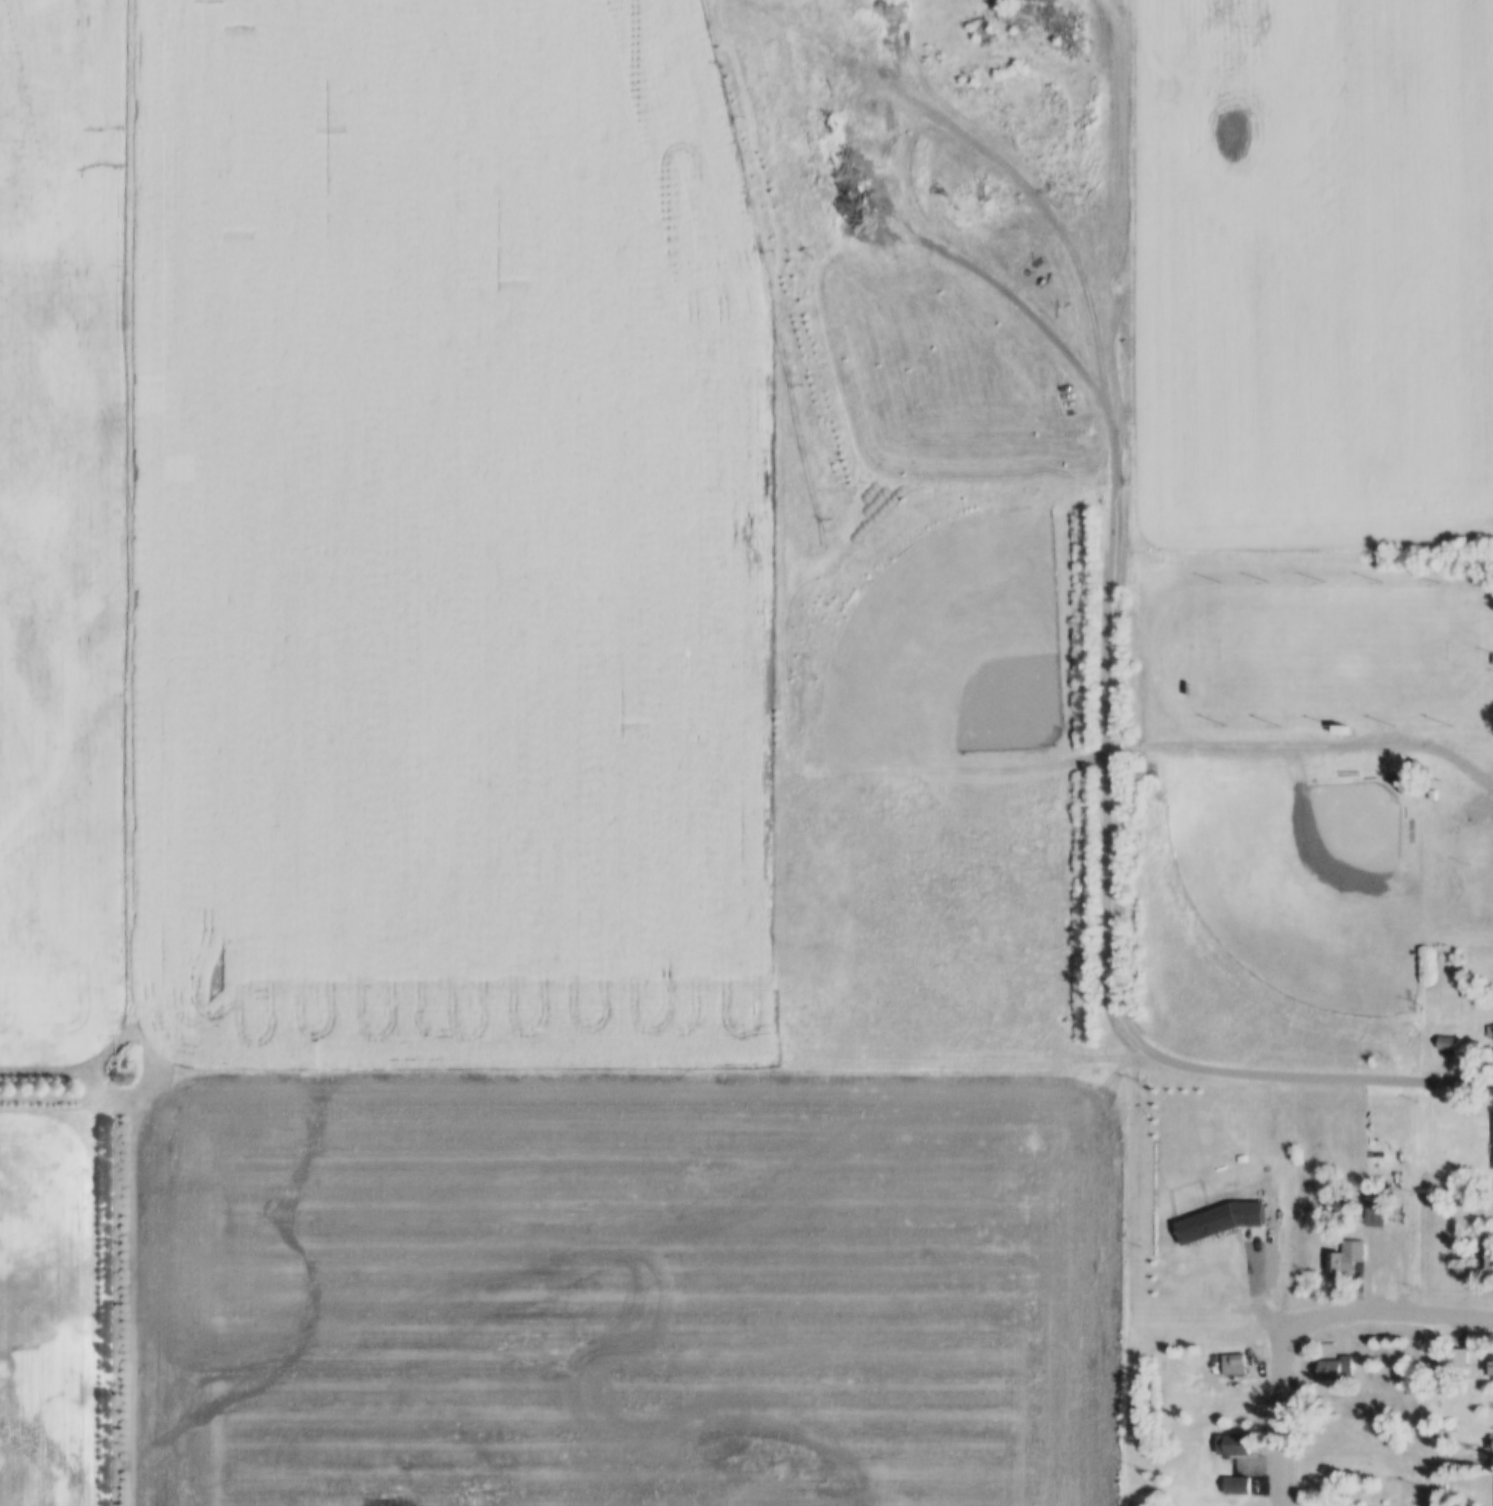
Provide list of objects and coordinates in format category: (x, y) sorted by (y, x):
road: (1102, 377)
street lamp: (1213, 569)
street lamp: (1262, 569)
street lamp: (1319, 570)
street lamp: (1376, 570)
street lamp: (1432, 570)
park: (1331, 638)
park: (951, 645)
building: (1490, 648)
street lamp: (1220, 711)
street lamp: (1272, 711)
street lamp: (1326, 712)
street lamp: (1389, 712)
street lamp: (1445, 712)
building: (1332, 719)
building: (1338, 730)
building: (1393, 772)
building: (1398, 783)
building: (1427, 784)
road: (1112, 881)
park: (1302, 885)
building: (1459, 981)
storage tank: (1492, 1004)
building: (1487, 1022)
building: (1439, 1031)
building: (1489, 1035)
building: (1445, 1044)
building: (1491, 1130)
building: (1368, 1197)
building: (1391, 1205)
building: (1375, 1207)
building: (1214, 1209)
building: (1483, 1237)
building: (1339, 1246)
building: (1344, 1258)
road: (1405, 1310)
building: (1428, 1335)
building: (1451, 1347)
building: (1227, 1353)
building: (1487, 1357)
building: (1327, 1358)
building: (1455, 1360)
building: (1232, 1366)
building: (1331, 1370)
building: (1488, 1370)
road: (1278, 1404)
building: (1227, 1433)
building: (1488, 1434)
building: (1232, 1446)
building: (1490, 1446)
building: (1230, 1474)
building: (1235, 1486)
building: (1492, 1488)

